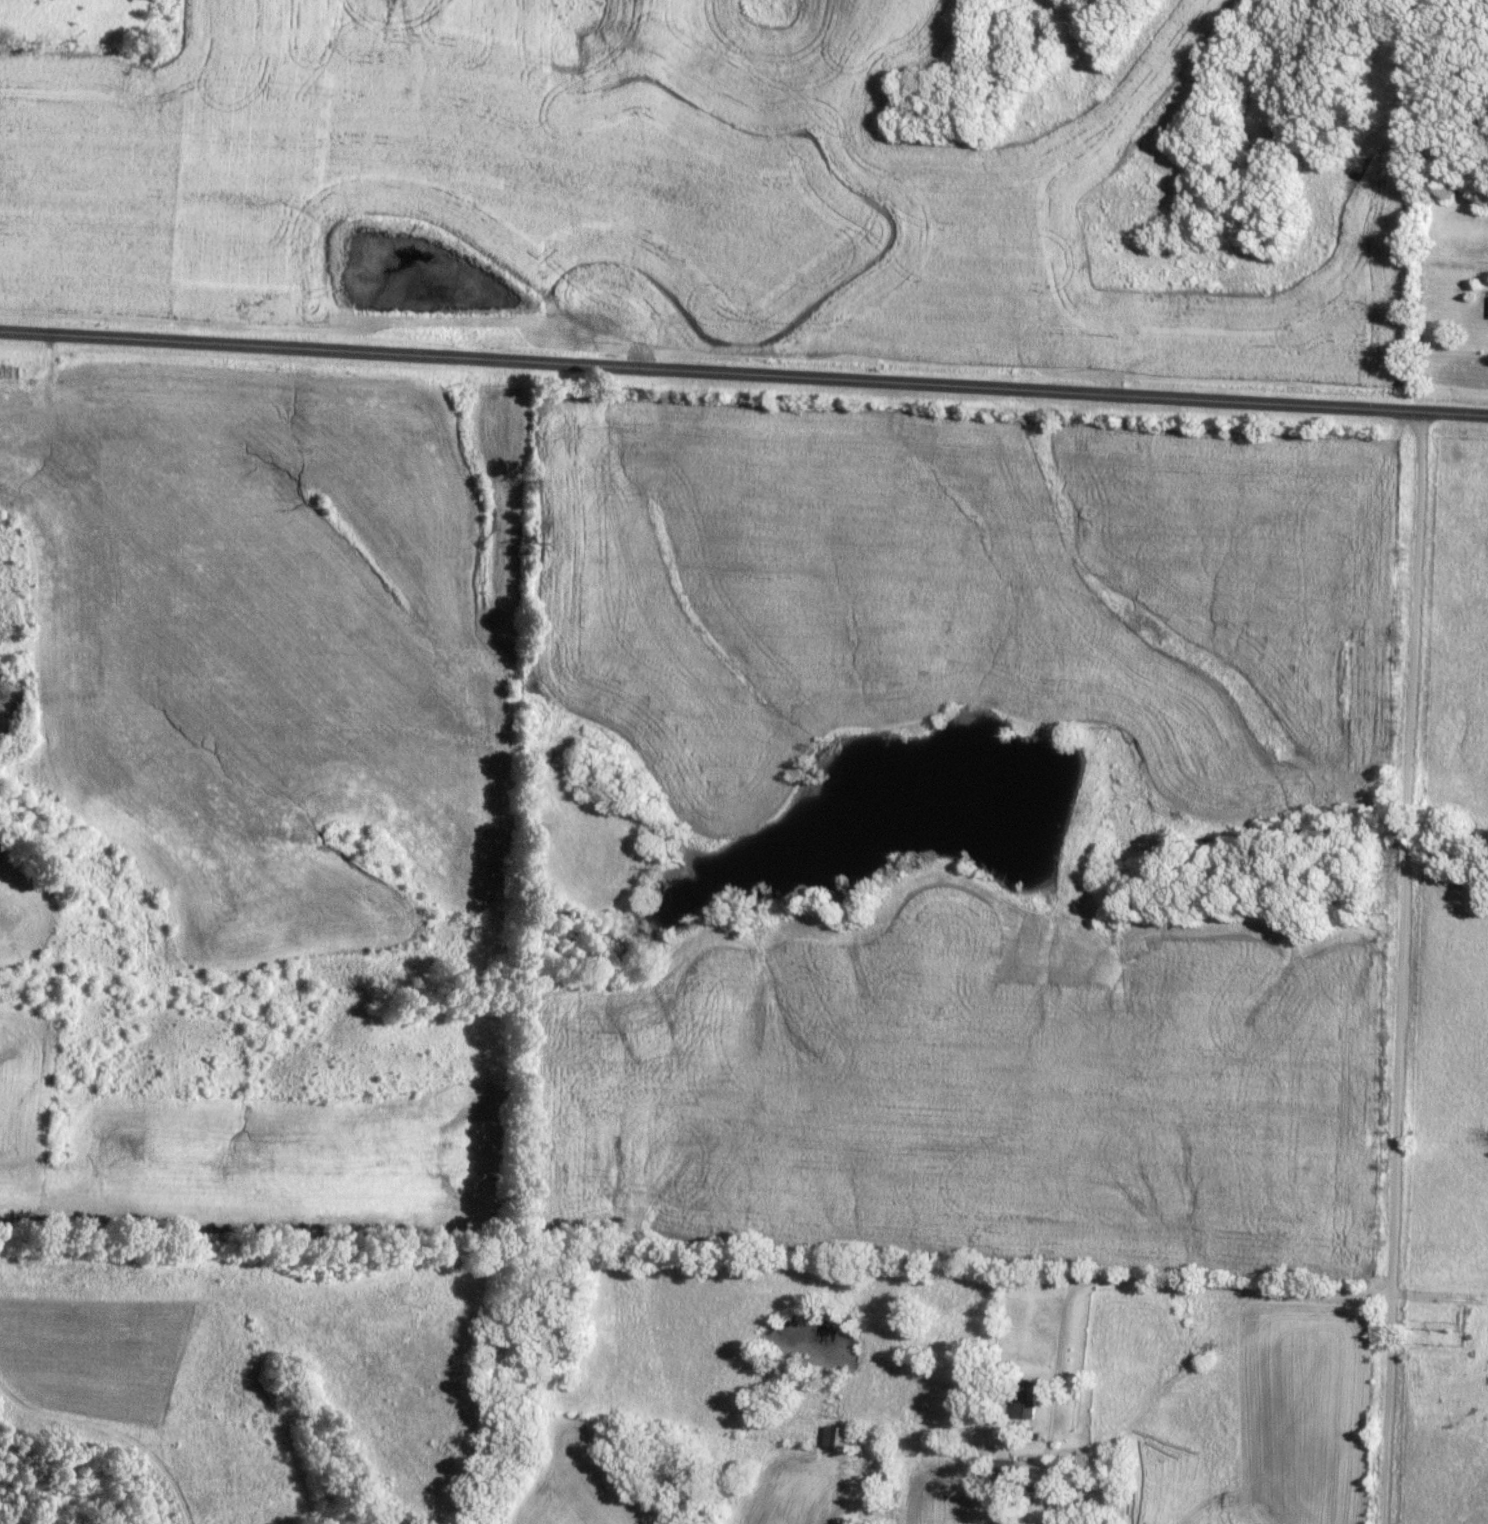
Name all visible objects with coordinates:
road: (743, 372)
road: (1404, 967)
road: (1140, 1280)
building: (1030, 1400)
building: (844, 1438)
building: (1006, 1472)

